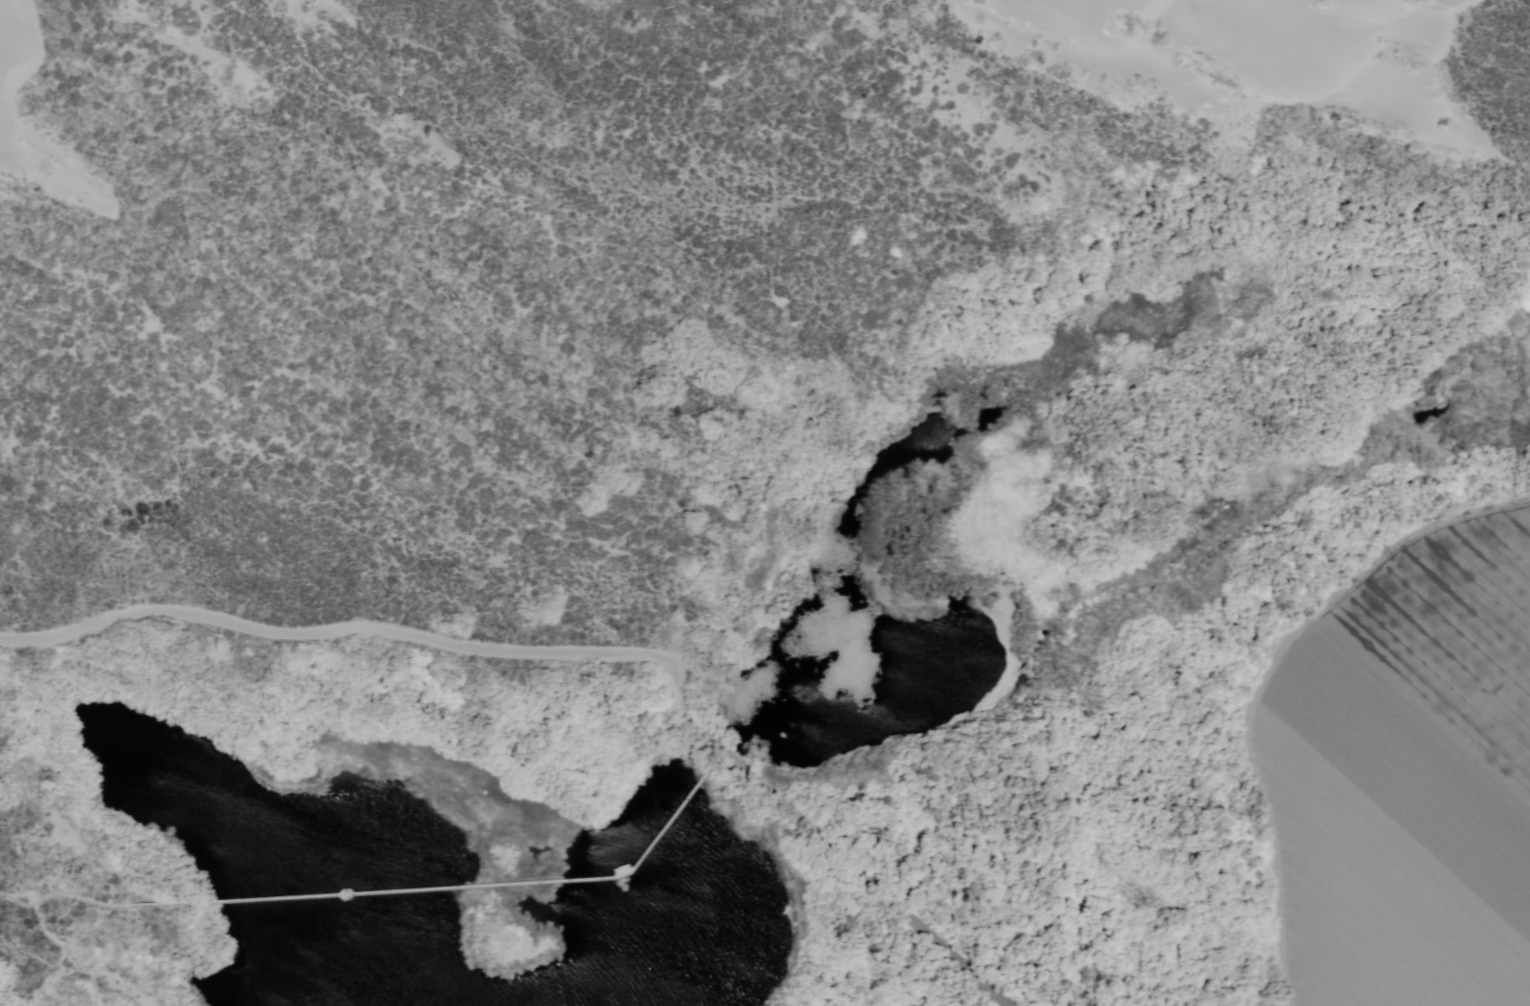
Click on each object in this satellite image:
park: (763, 496)
road: (337, 630)
crop: (1410, 779)
road: (828, 844)
road: (464, 889)
road: (69, 895)

